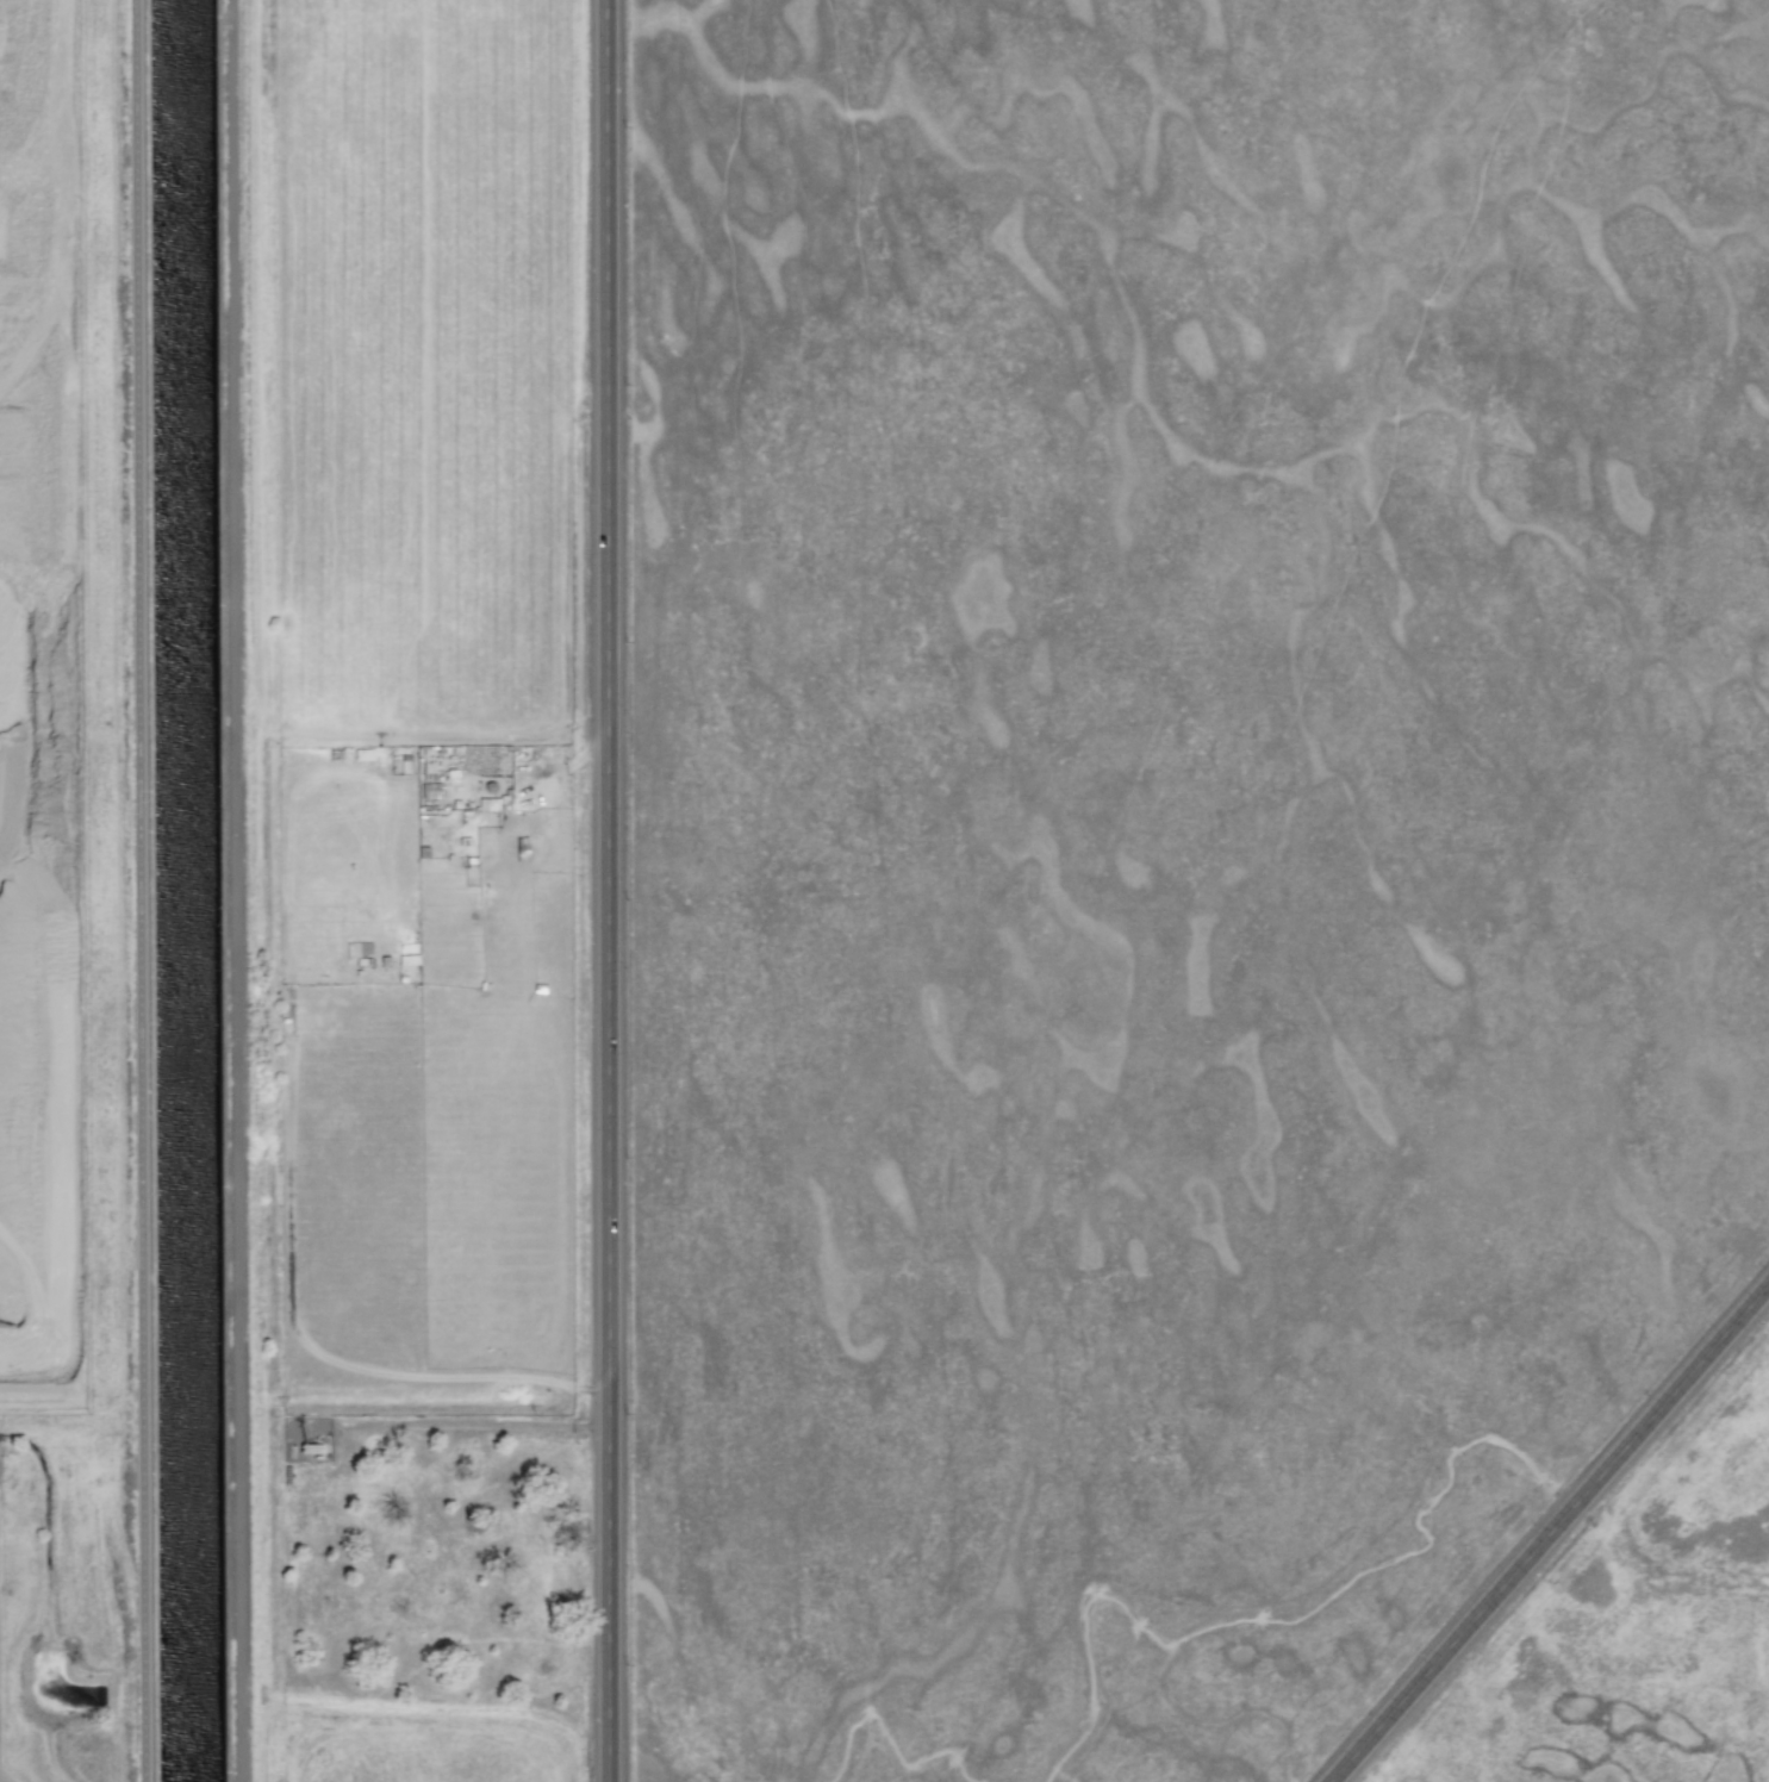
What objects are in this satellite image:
building: (493, 805)
crop: (413, 890)
road: (144, 891)
road: (242, 891)
road: (615, 891)
road: (475, 1425)
road: (1550, 1534)
crop: (1617, 1607)

